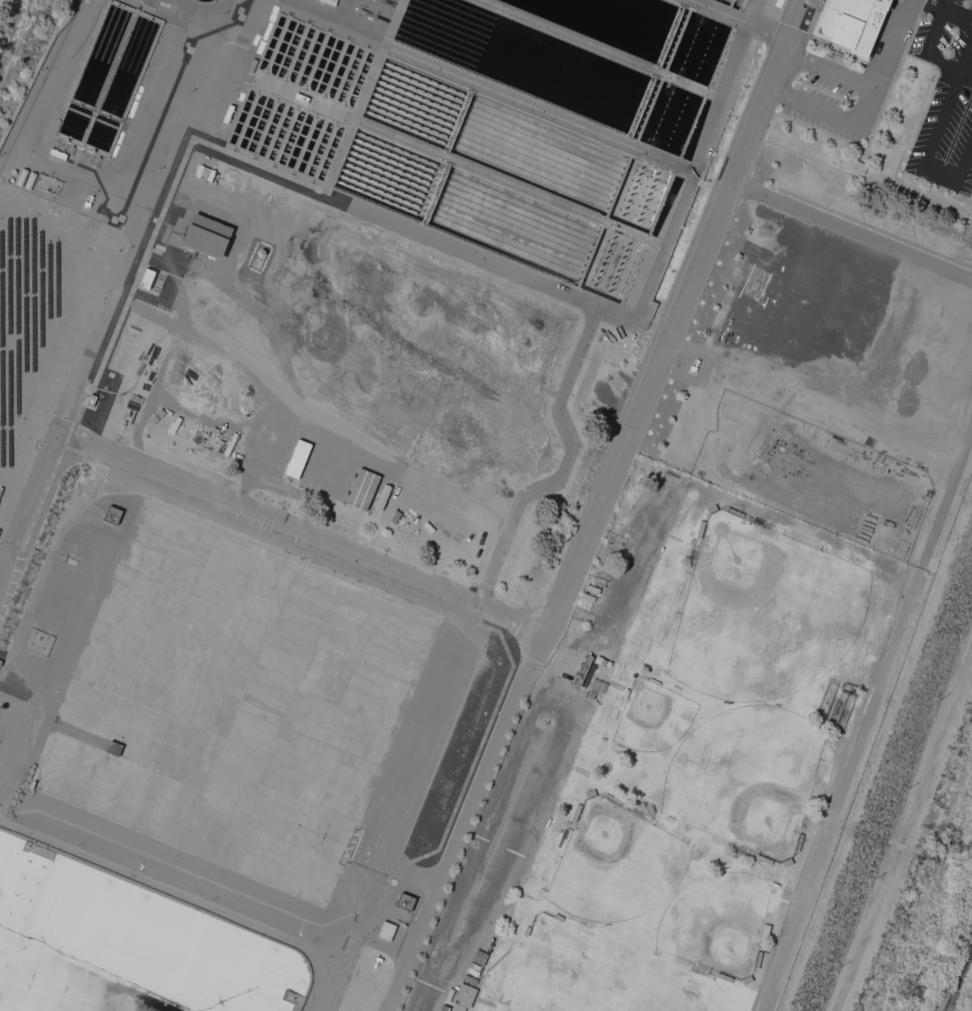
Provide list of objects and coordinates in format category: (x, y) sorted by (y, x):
road: (948, 7)
building: (851, 25)
building: (251, 65)
road: (864, 81)
building: (300, 98)
building: (228, 113)
building: (55, 126)
building: (58, 153)
building: (855, 166)
building: (21, 176)
building: (31, 179)
building: (88, 201)
road: (150, 215)
road: (849, 232)
building: (206, 236)
building: (145, 278)
building: (51, 291)
road: (672, 316)
building: (121, 342)
building: (694, 365)
building: (90, 400)
wastewater plant: (410, 419)
building: (361, 489)
building: (711, 508)
road: (32, 509)
building: (734, 512)
building: (112, 514)
building: (760, 520)
building: (700, 529)
road: (305, 530)
park: (766, 607)
building: (37, 642)
building: (0, 662)
building: (583, 669)
building: (595, 688)
park: (658, 716)
road: (542, 724)
building: (113, 748)
park: (675, 765)
park: (751, 780)
building: (590, 793)
building: (612, 799)
building: (637, 811)
building: (575, 812)
building: (806, 816)
road: (463, 819)
building: (564, 837)
building: (798, 842)
building: (763, 859)
park: (616, 860)
building: (786, 862)
building: (404, 901)
building: (559, 917)
park: (720, 924)
building: (386, 930)
building: (525, 931)
building: (757, 959)
building: (376, 961)
building: (698, 969)
park: (601, 976)
building: (724, 977)
building: (746, 980)
building: (464, 995)
building: (458, 1008)
building: (439, 1010)

